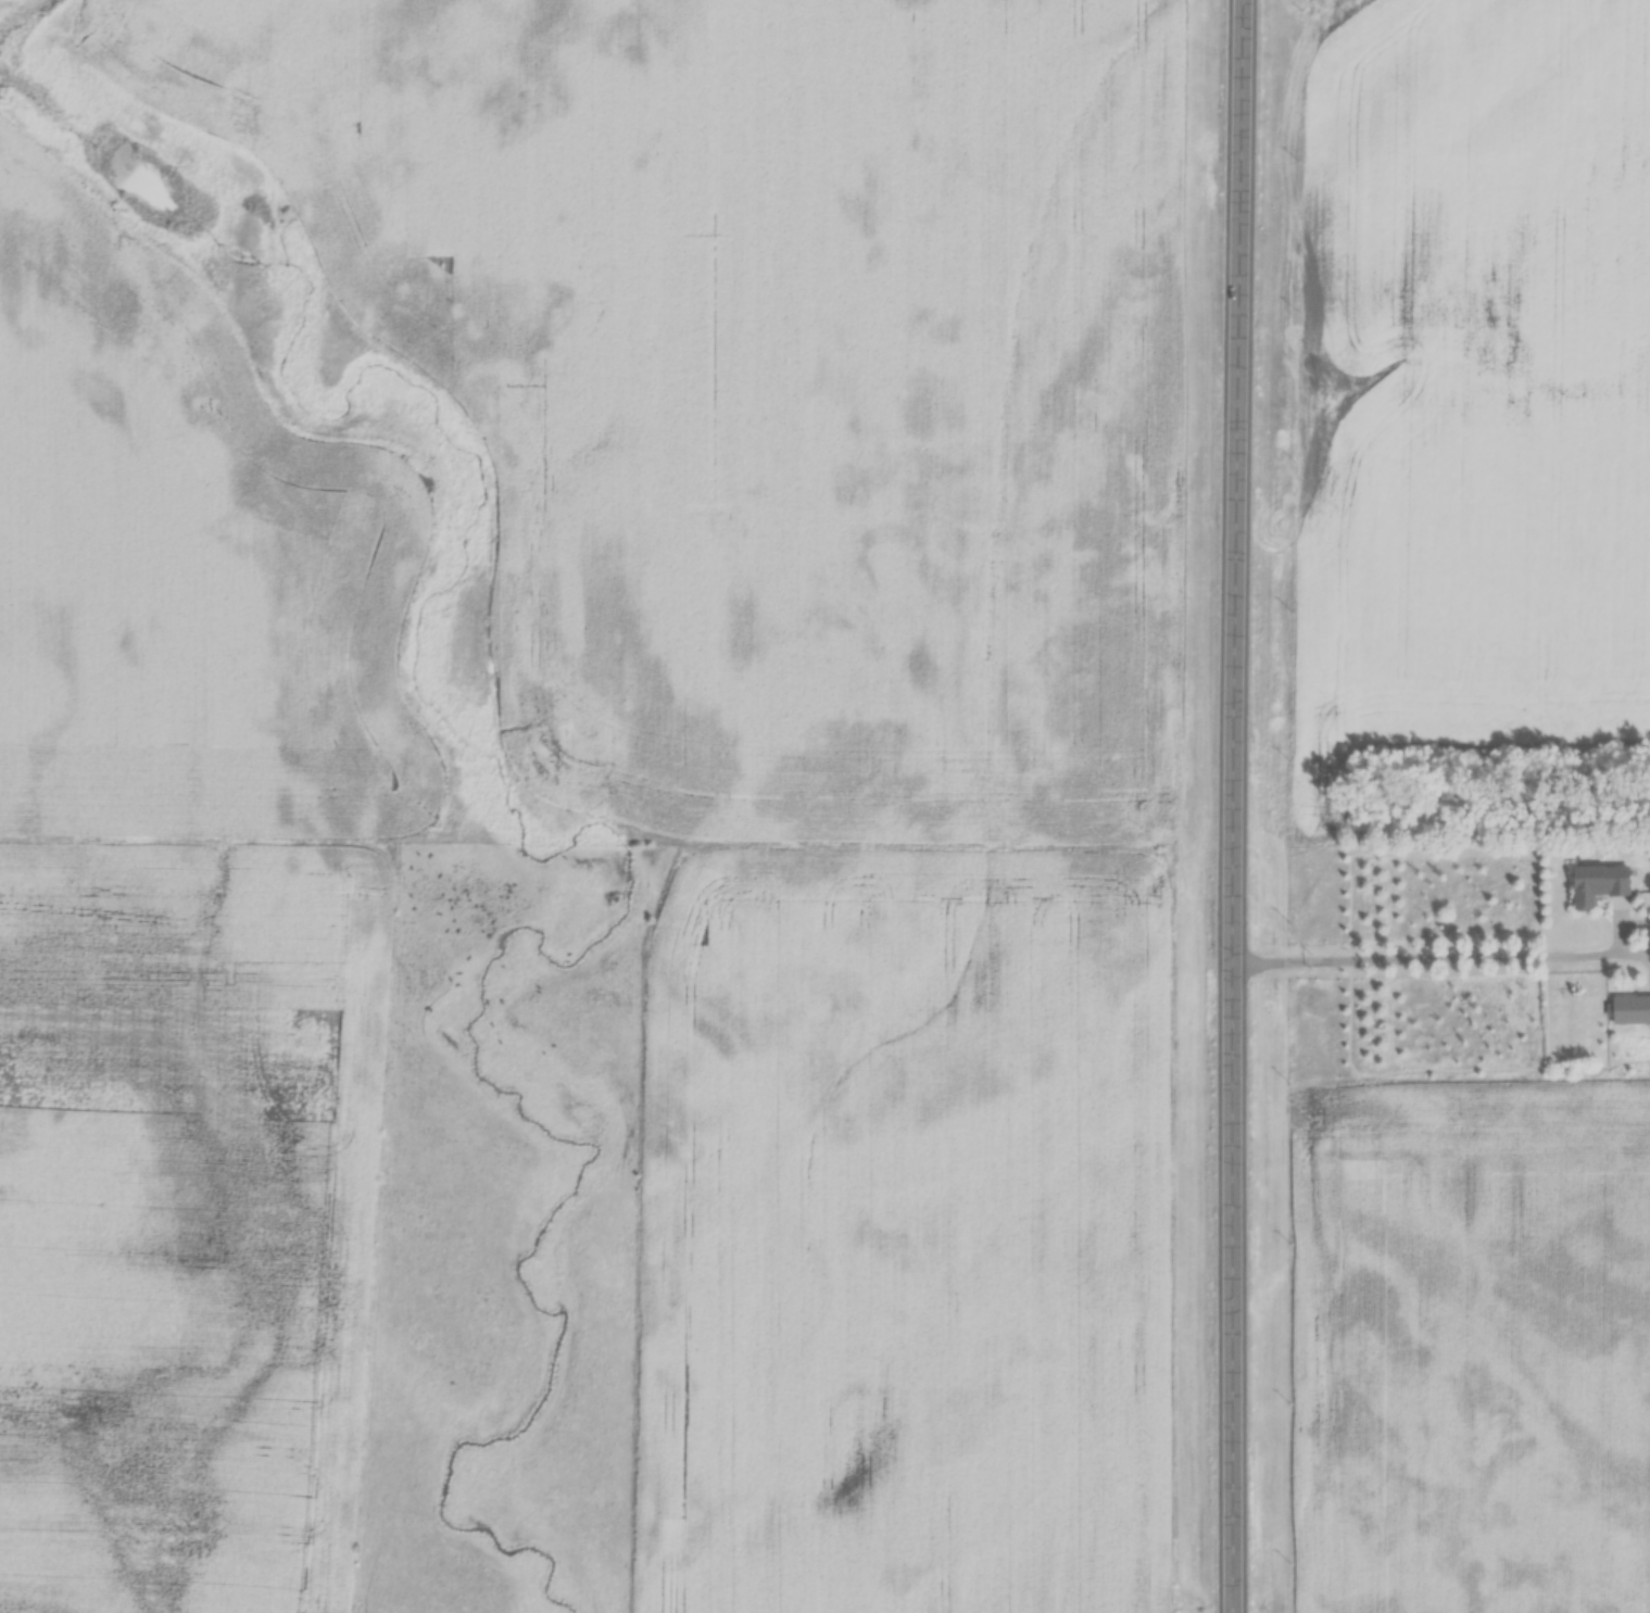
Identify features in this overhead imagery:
road: (1248, 806)
building: (1591, 883)
road: (1454, 955)
building: (1628, 1008)

